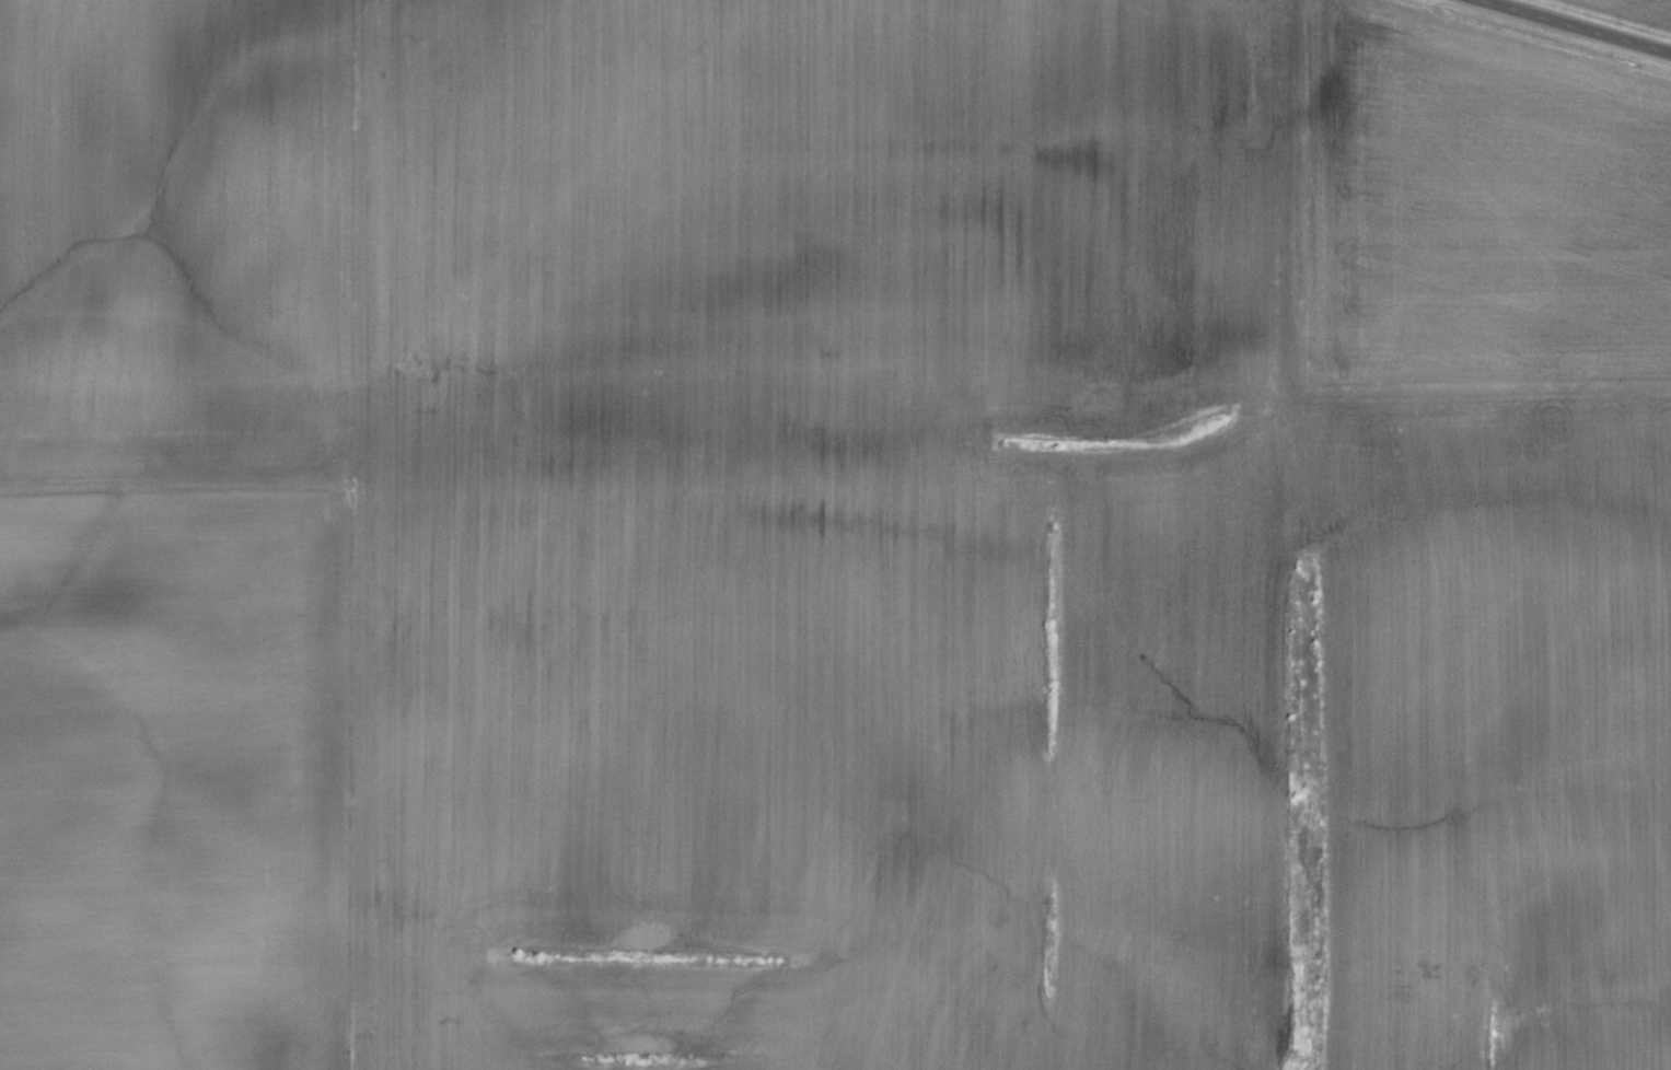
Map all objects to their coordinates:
crop: (1637, 9)
road: (1575, 27)
crop: (825, 534)

